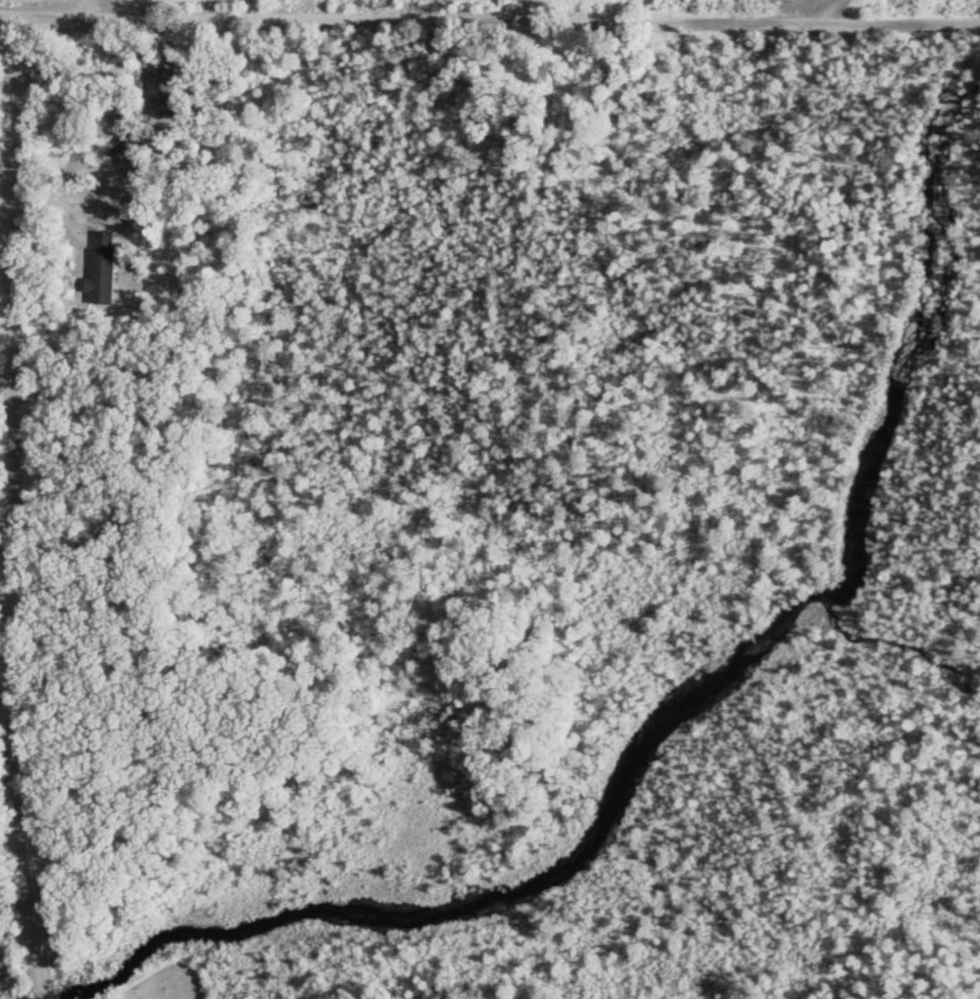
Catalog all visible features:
road: (100, 6)
road: (489, 16)
building: (175, 90)
road: (21, 507)

